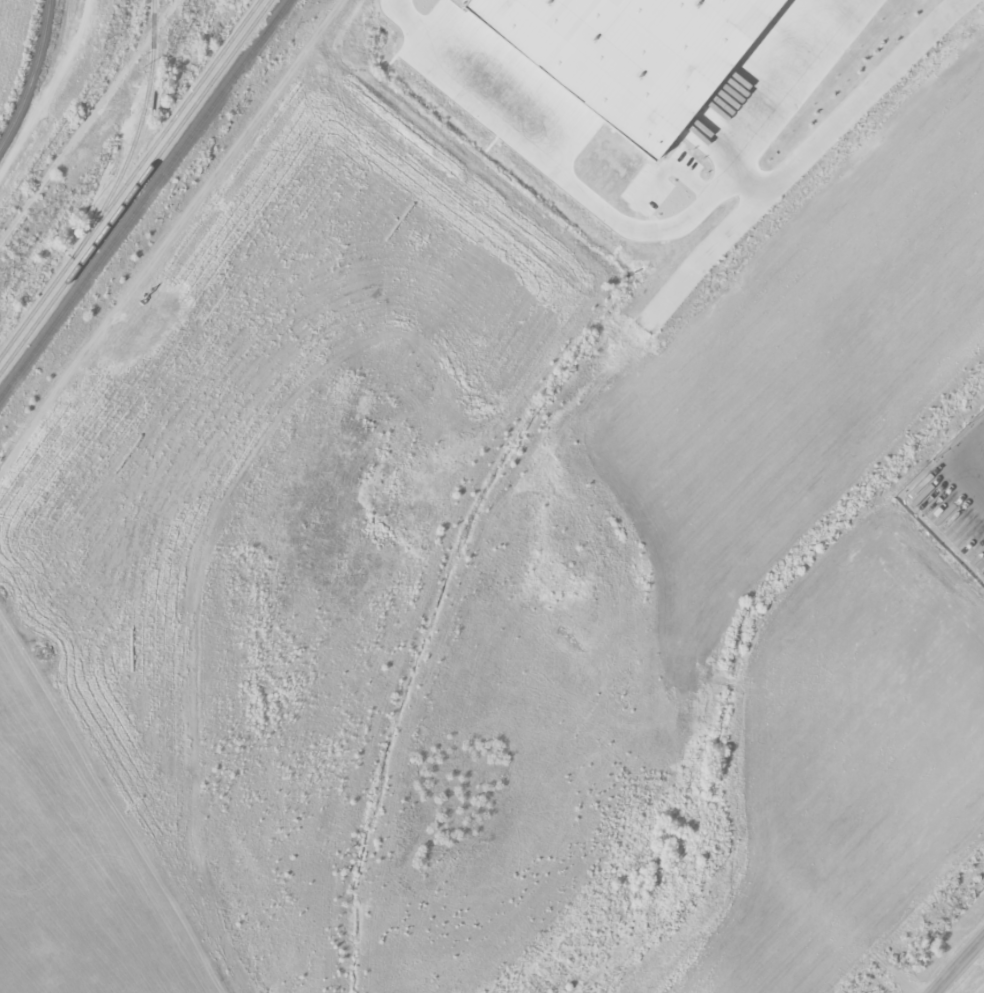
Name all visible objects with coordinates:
building: (631, 54)
railway: (32, 75)
road: (849, 113)
railway: (138, 135)
railway: (130, 178)
railway: (135, 186)
railway: (145, 200)
road: (641, 224)
road: (691, 271)
road: (205, 285)
road: (302, 308)
road: (907, 456)
road: (968, 459)
building: (523, 546)
road: (562, 732)
road: (929, 847)
road: (910, 948)
road: (964, 958)
road: (940, 986)

